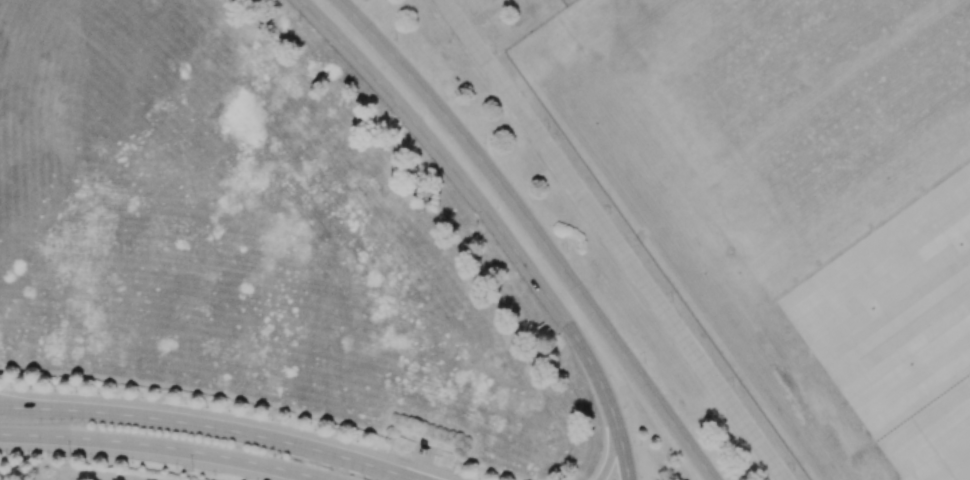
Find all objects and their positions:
street lamp: (297, 20)
street lamp: (394, 39)
street lamp: (390, 118)
street lamp: (484, 141)
airport: (752, 205)
road: (493, 221)
street lamp: (476, 224)
road: (536, 232)
road: (614, 240)
street lamp: (565, 251)
airport taxiway: (914, 319)
airport apron: (900, 328)
street lamp: (555, 336)
street lamp: (643, 361)
street lamp: (75, 390)
street lamp: (206, 406)
road: (15, 408)
road: (226, 430)
street lamp: (334, 434)
street lamp: (639, 444)
road: (160, 447)
road: (612, 453)
street lamp: (68, 456)
street lamp: (191, 470)
street lamp: (459, 472)
street lamp: (727, 479)

